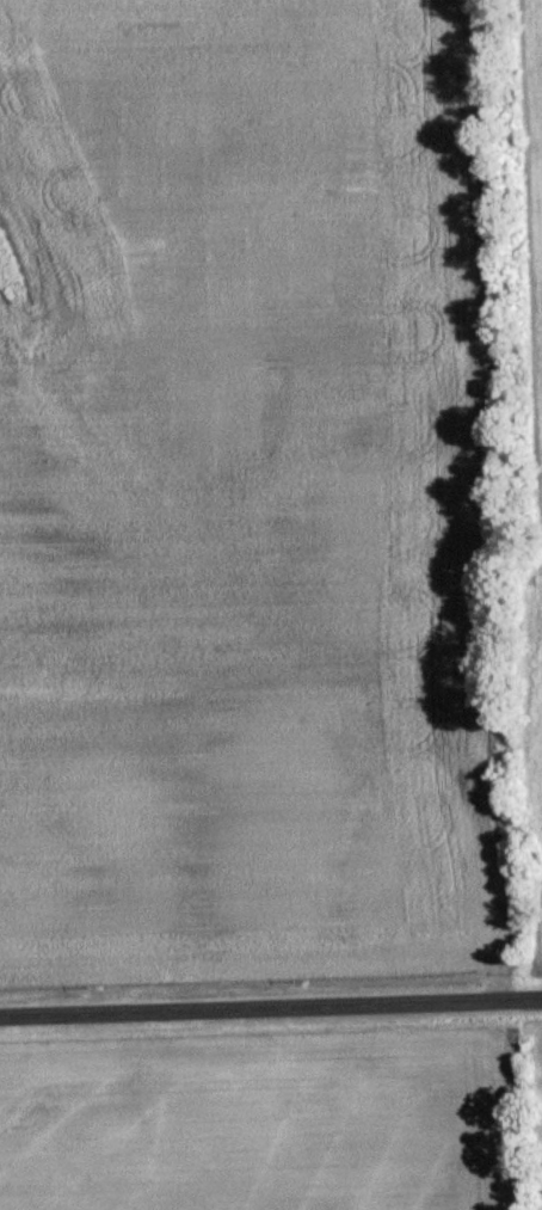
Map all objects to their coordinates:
road: (271, 1012)

